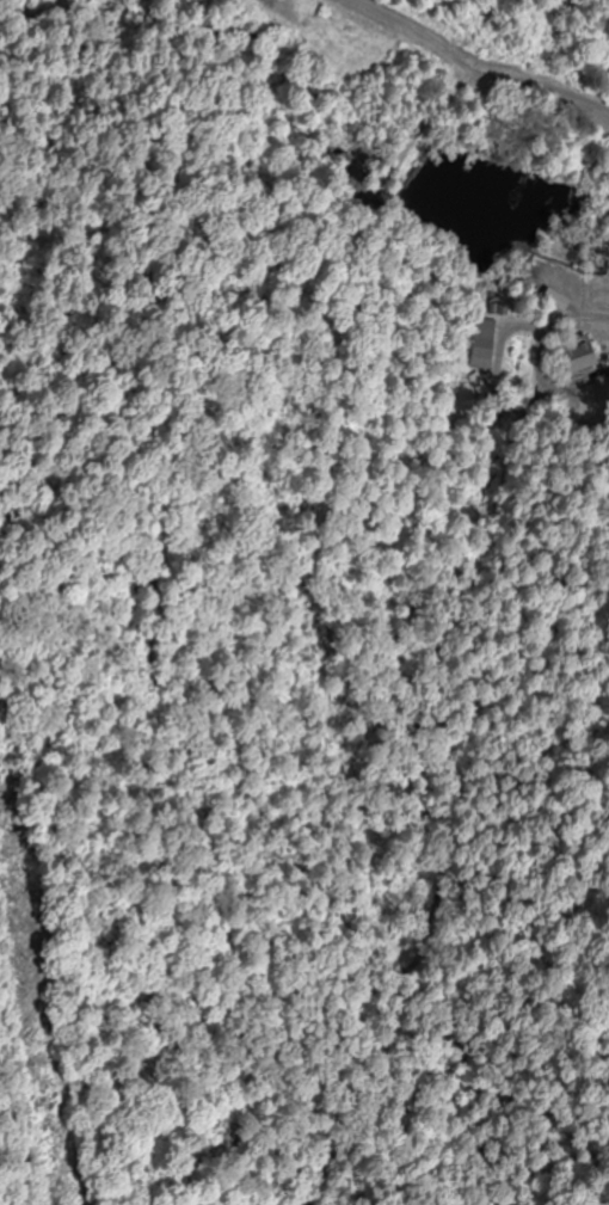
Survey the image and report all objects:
road: (476, 70)
building: (479, 350)
building: (571, 357)

